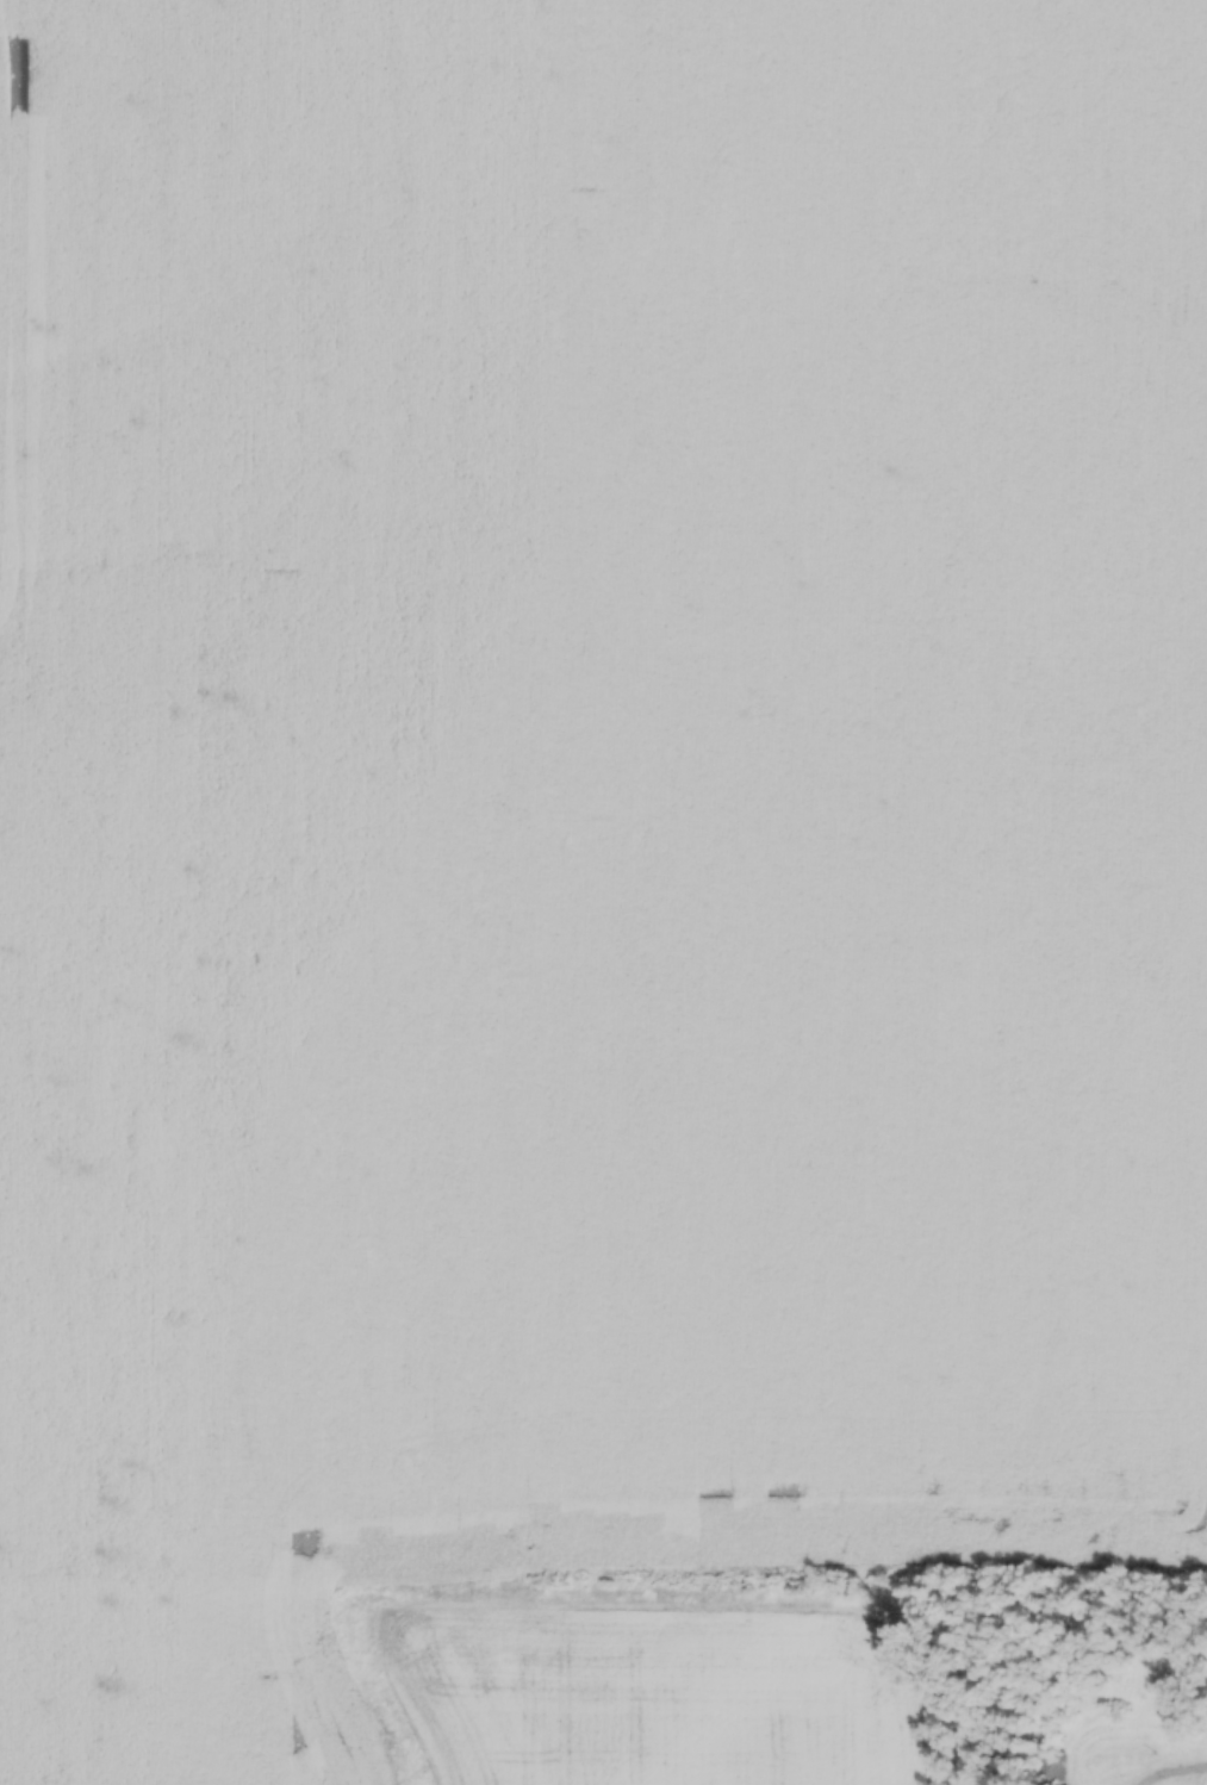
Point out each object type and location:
building: (1165, 1694)
road: (1171, 1768)
building: (1056, 1770)

